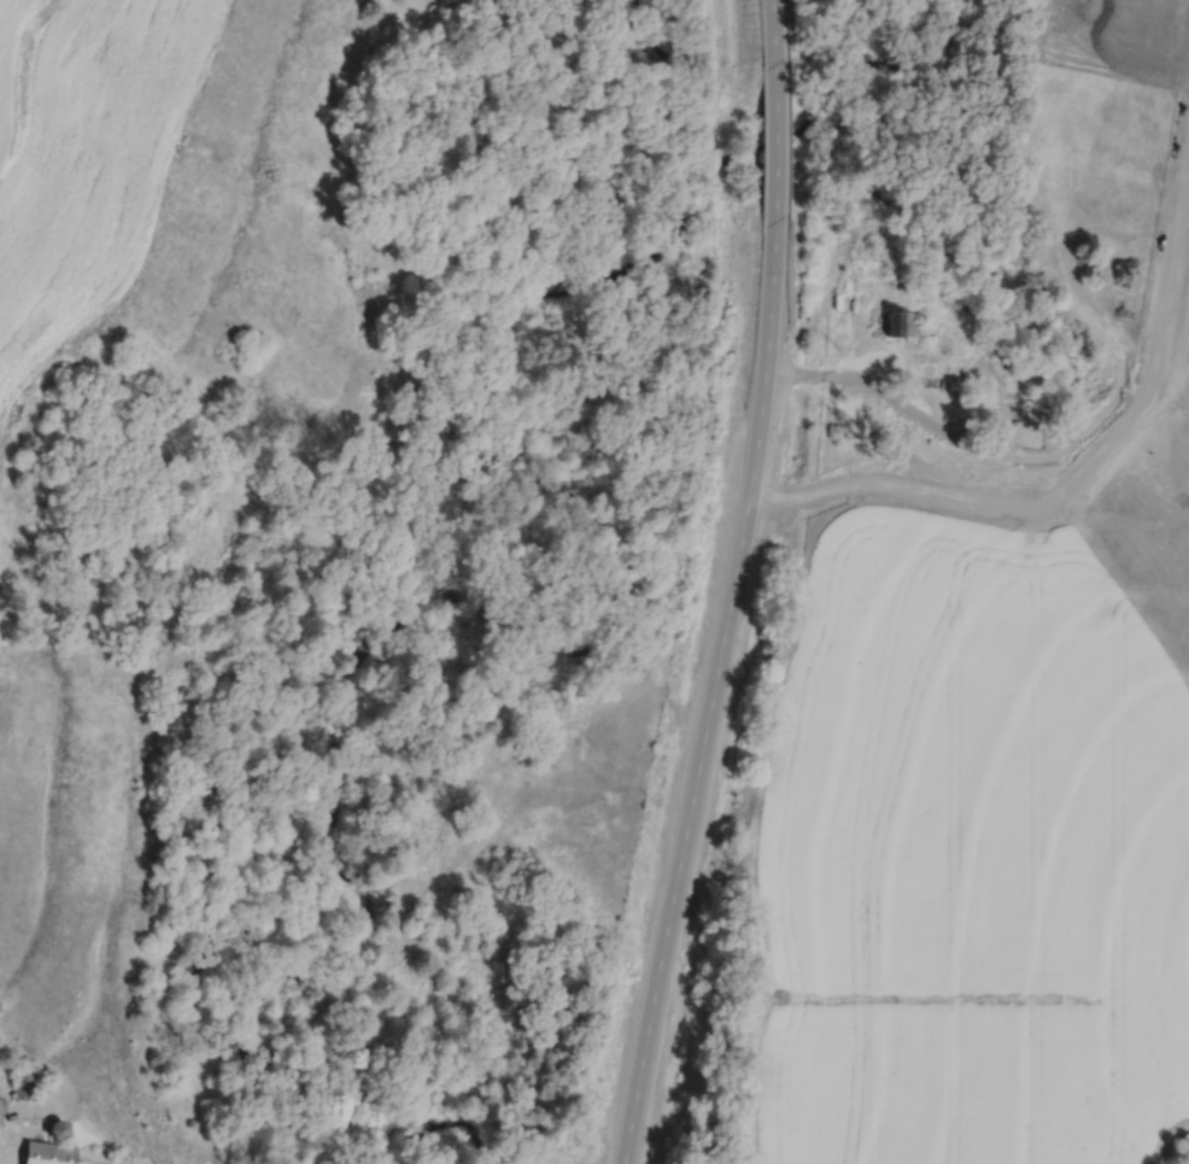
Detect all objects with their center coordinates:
road: (777, 28)
road: (775, 140)
building: (900, 324)
dam: (1118, 417)
road: (717, 696)
building: (24, 1083)
building: (1, 1106)
building: (48, 1153)

